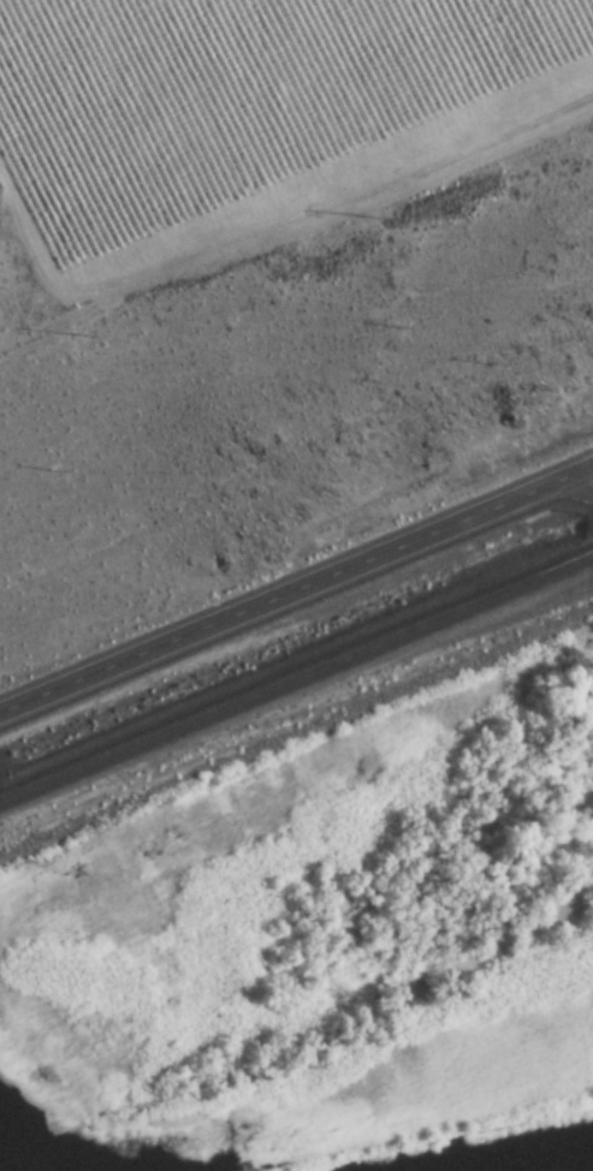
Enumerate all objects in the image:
road: (297, 593)
railway: (296, 677)
railway: (462, 1139)

